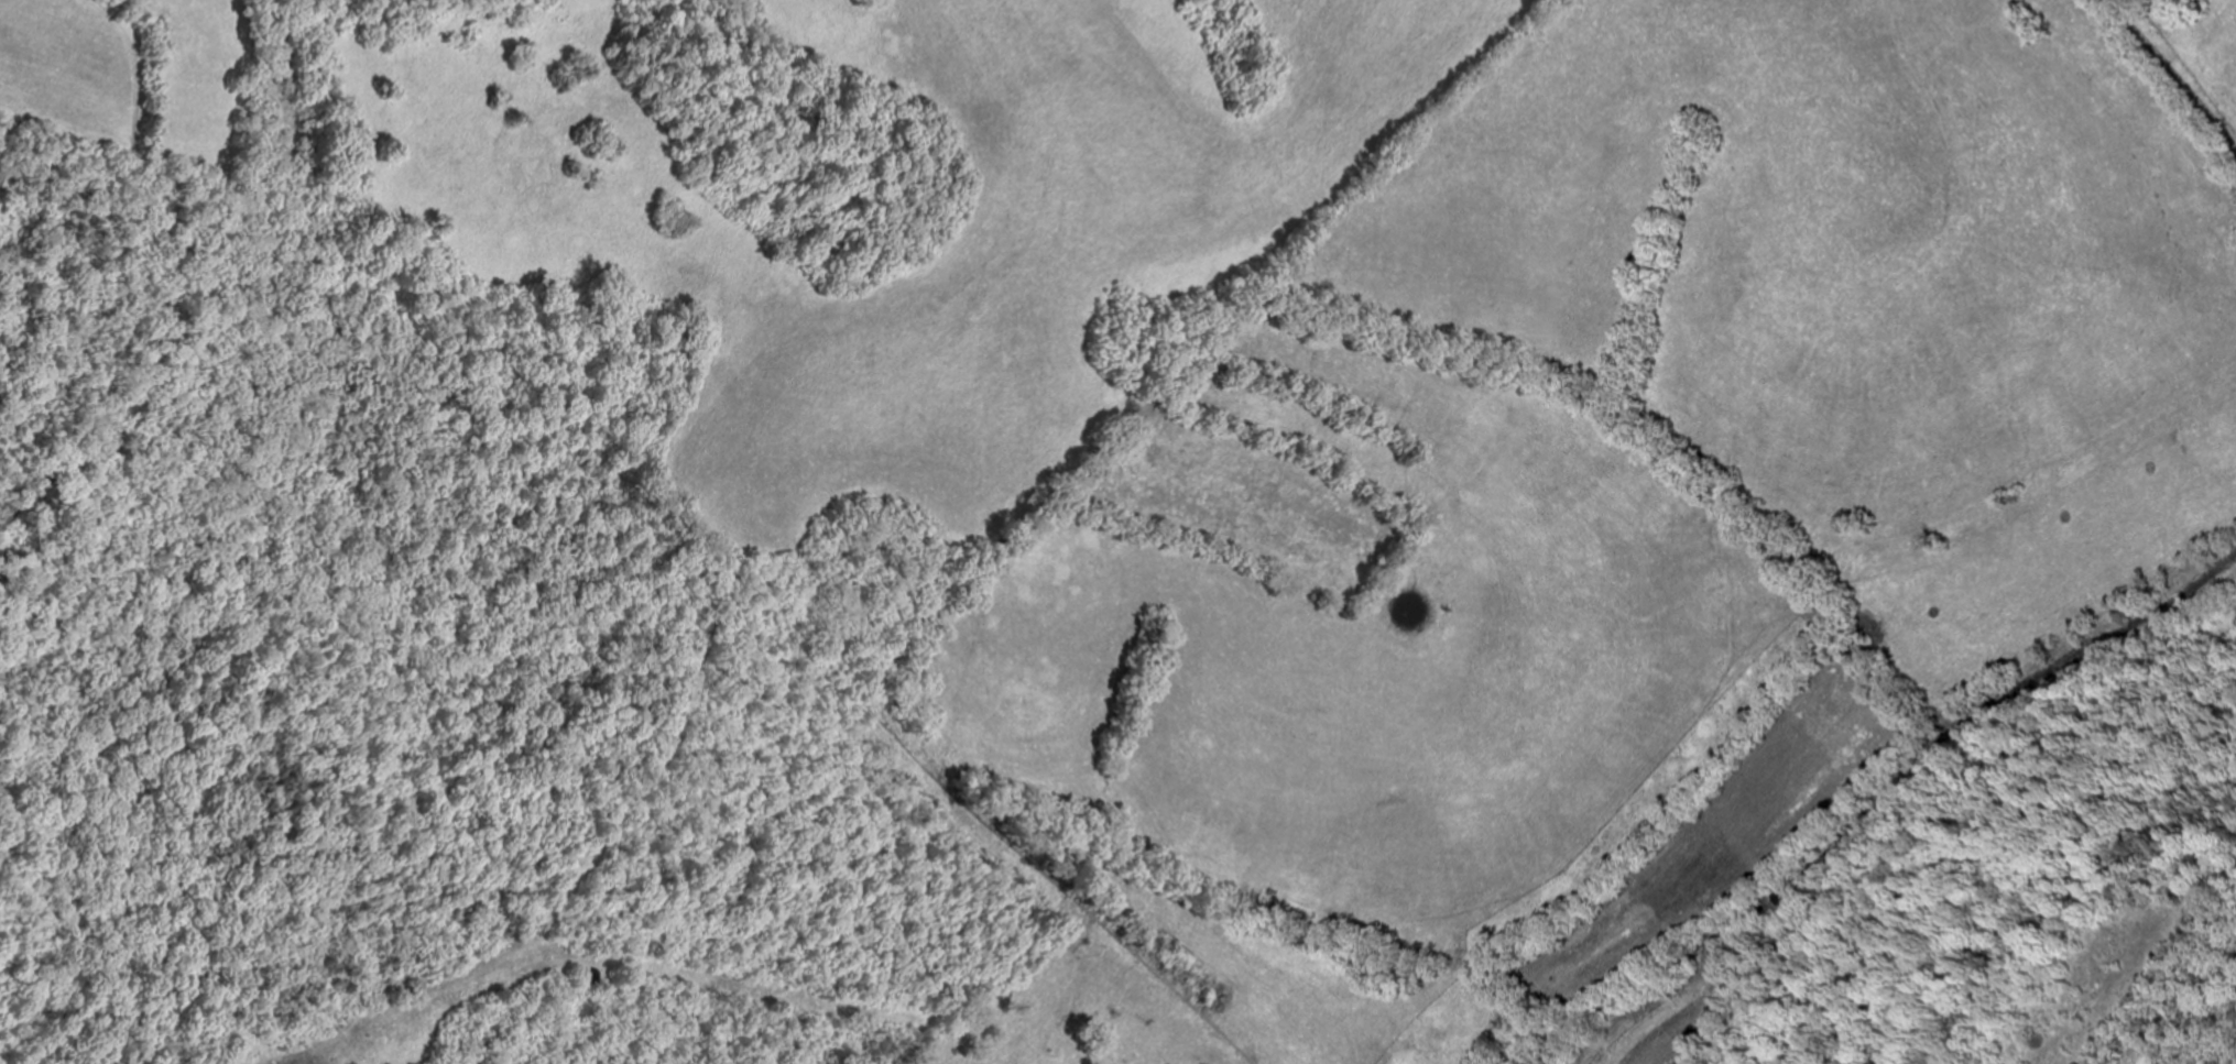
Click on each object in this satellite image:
road: (2172, 78)

